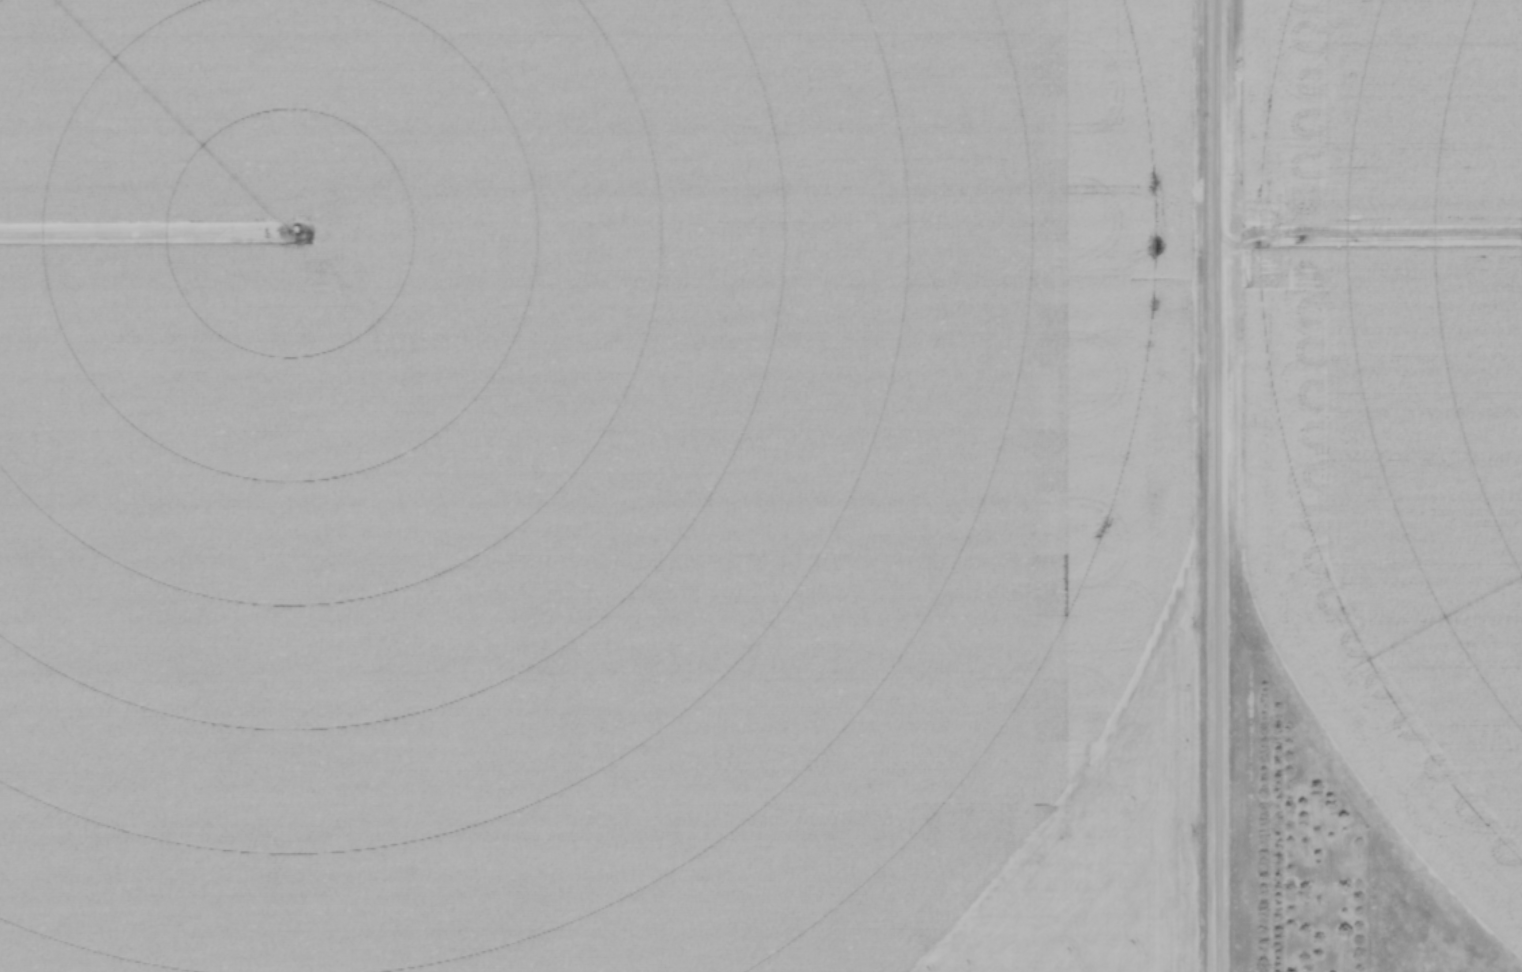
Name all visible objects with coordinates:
road: (1216, 485)

